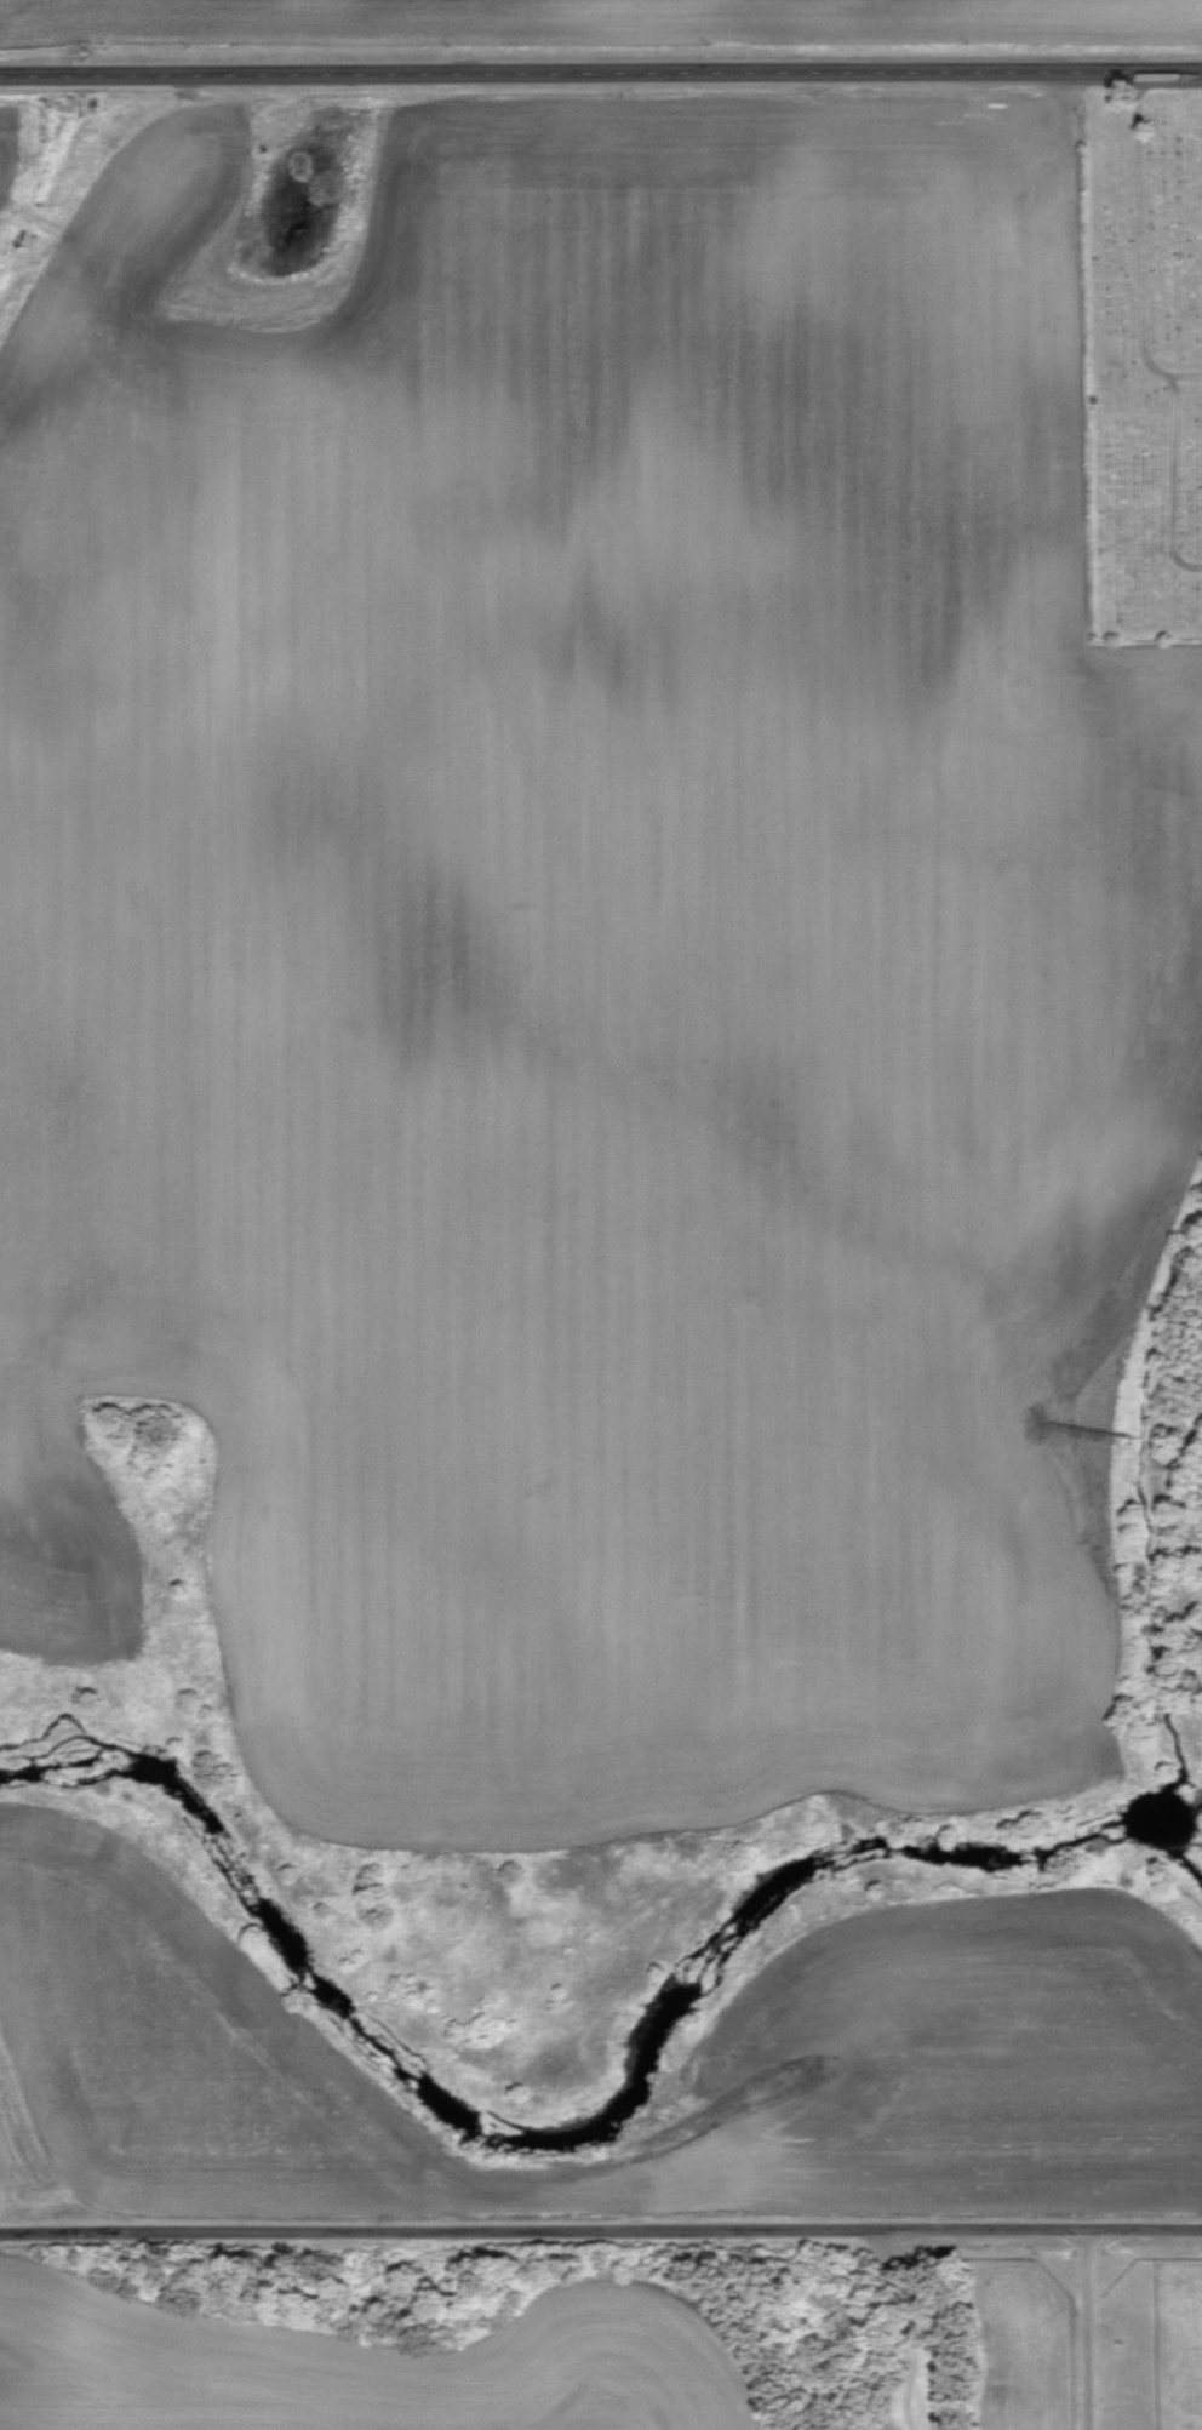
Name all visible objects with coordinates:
road: (601, 74)
park: (1141, 361)
road: (600, 2229)
road: (1088, 2328)
road: (885, 2332)

